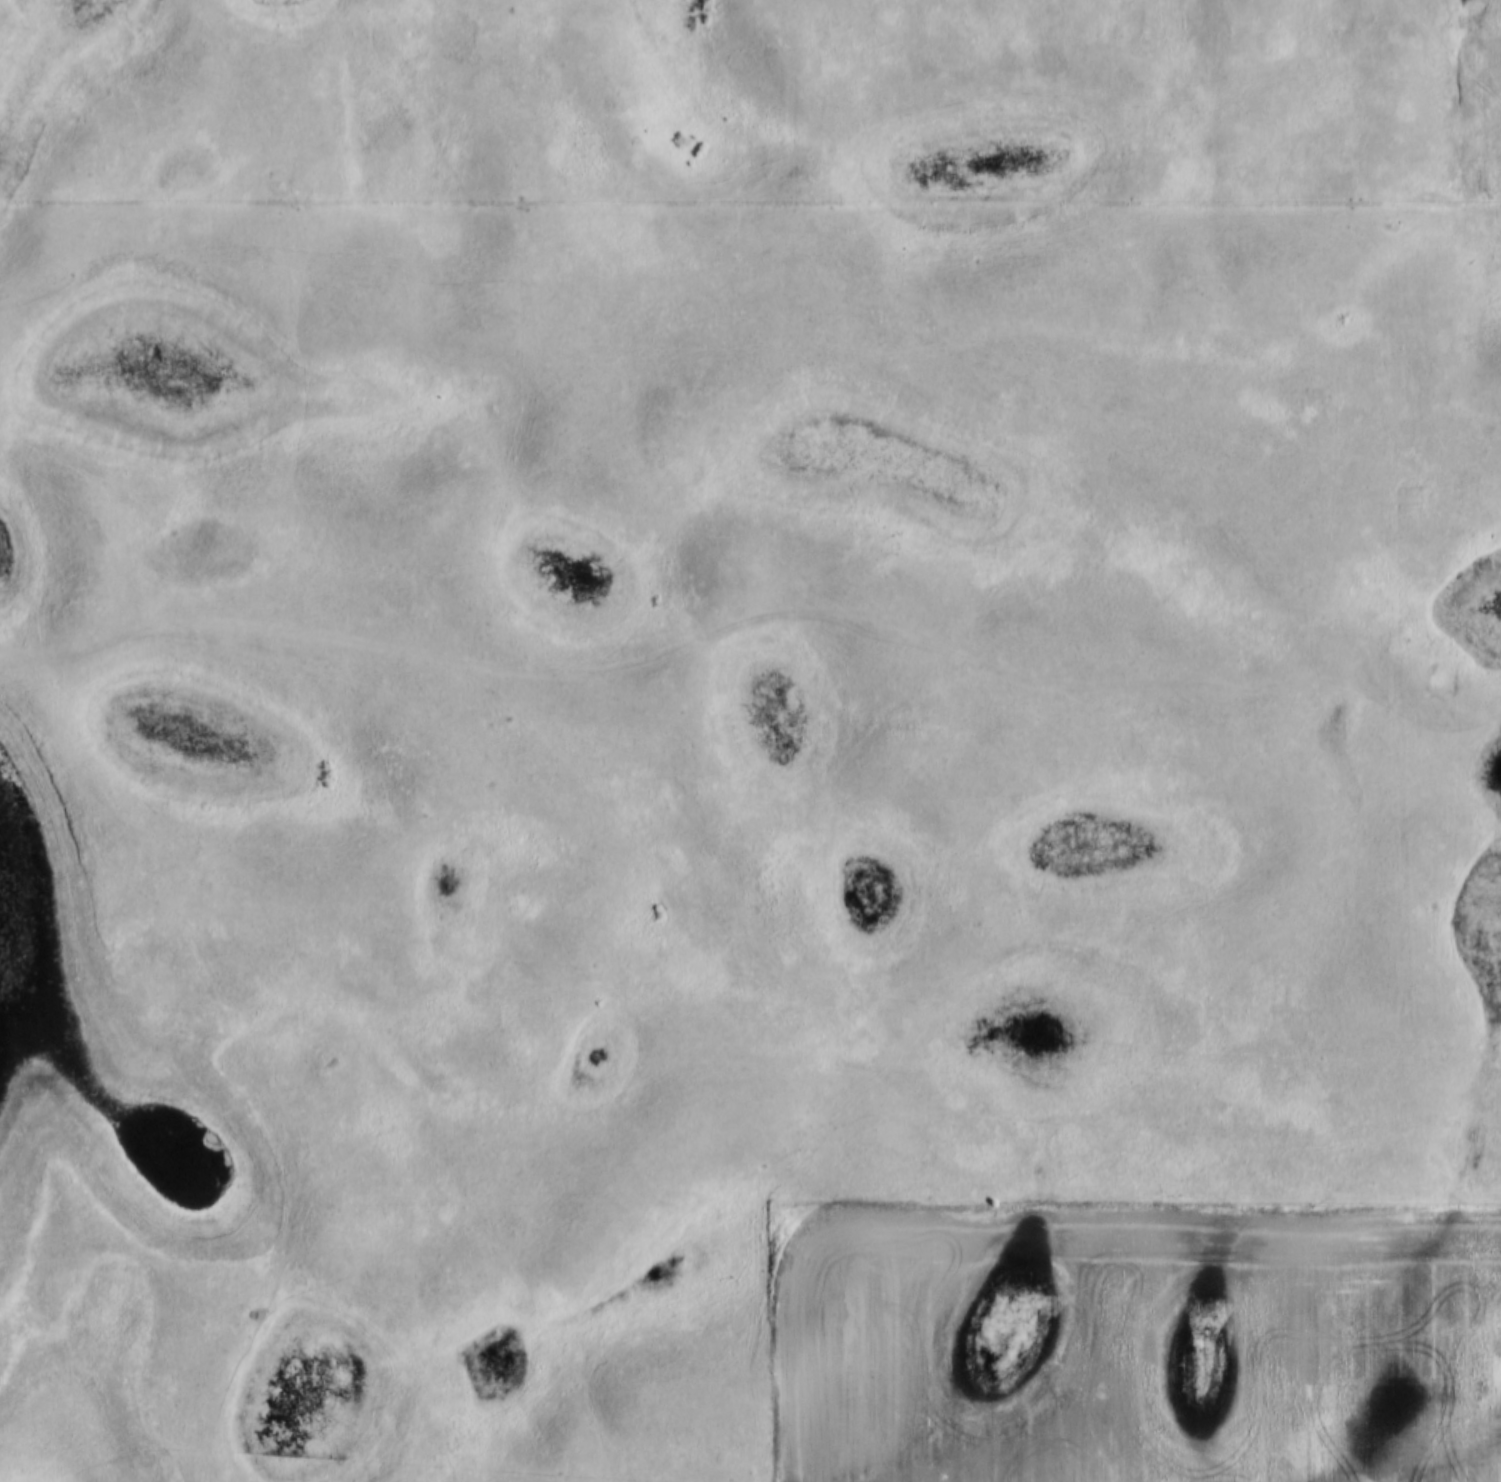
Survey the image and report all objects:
road: (711, 636)

